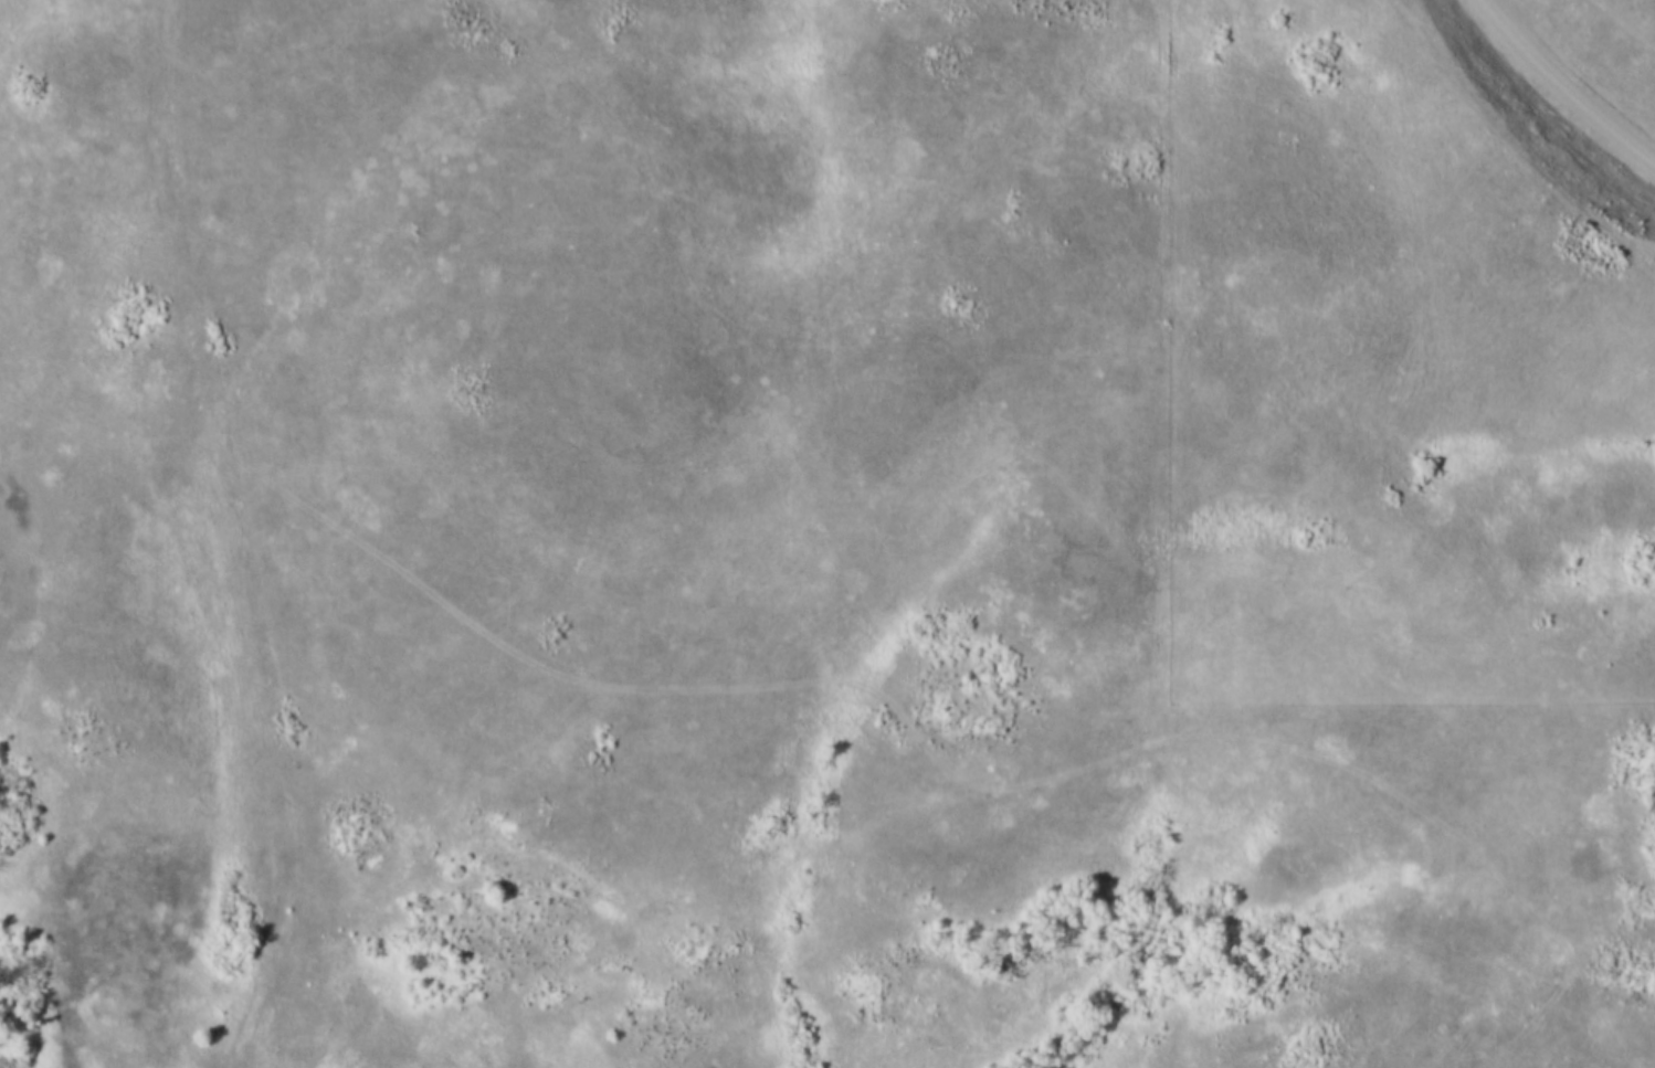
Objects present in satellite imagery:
road: (1559, 94)
road: (242, 536)

